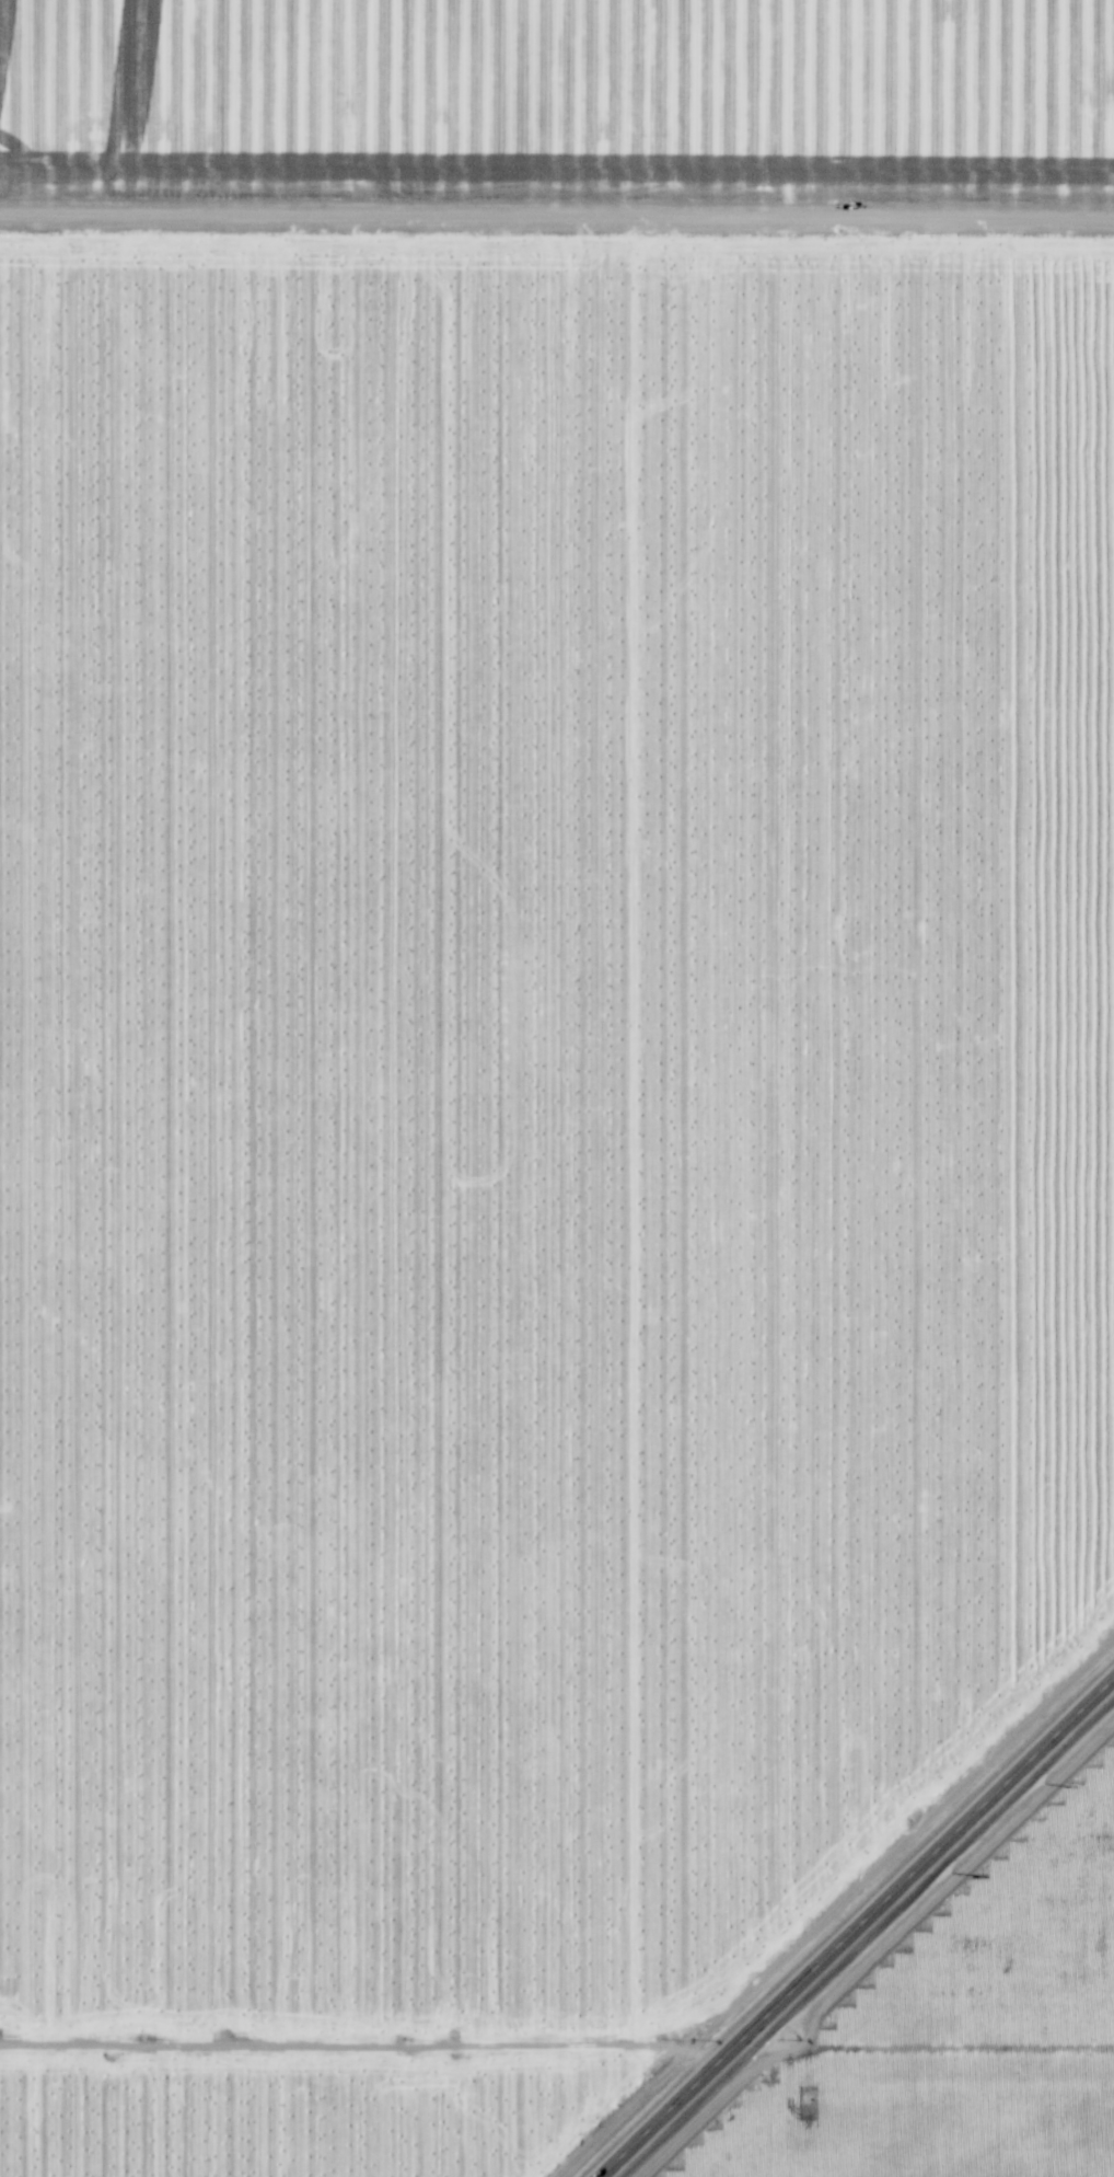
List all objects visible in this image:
road: (866, 1936)

